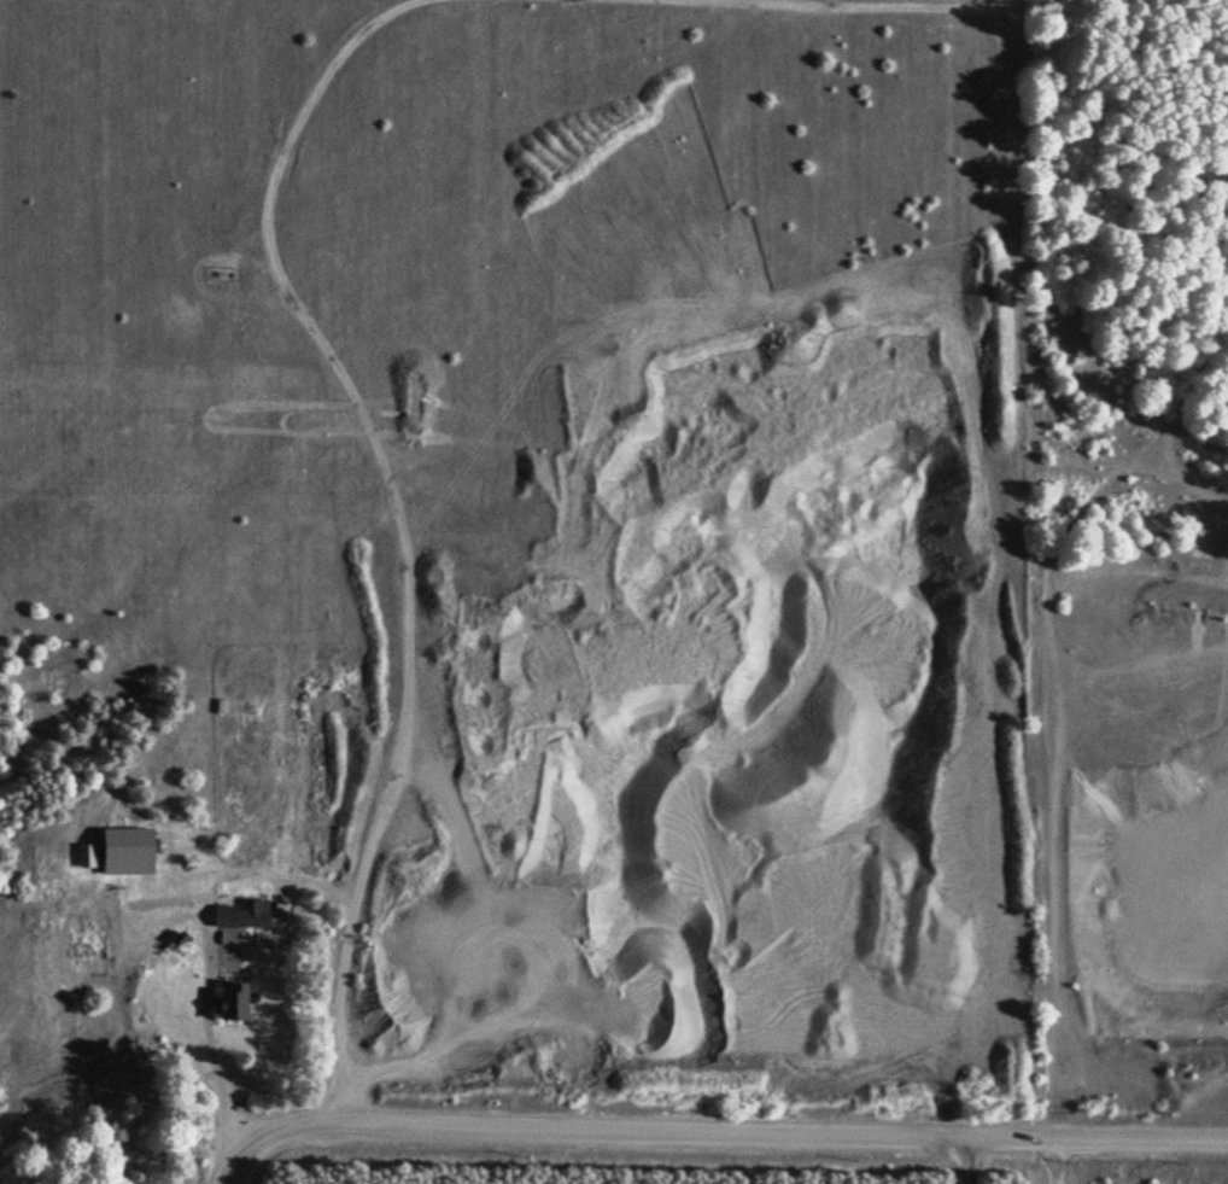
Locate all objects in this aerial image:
road: (811, 7)
road: (390, 523)
quarry: (1129, 556)
quarry: (680, 562)
building: (116, 885)
building: (87, 888)
building: (242, 918)
building: (89, 938)
building: (234, 1001)
road: (708, 1130)
road: (1053, 1159)
quarry: (709, 1173)

